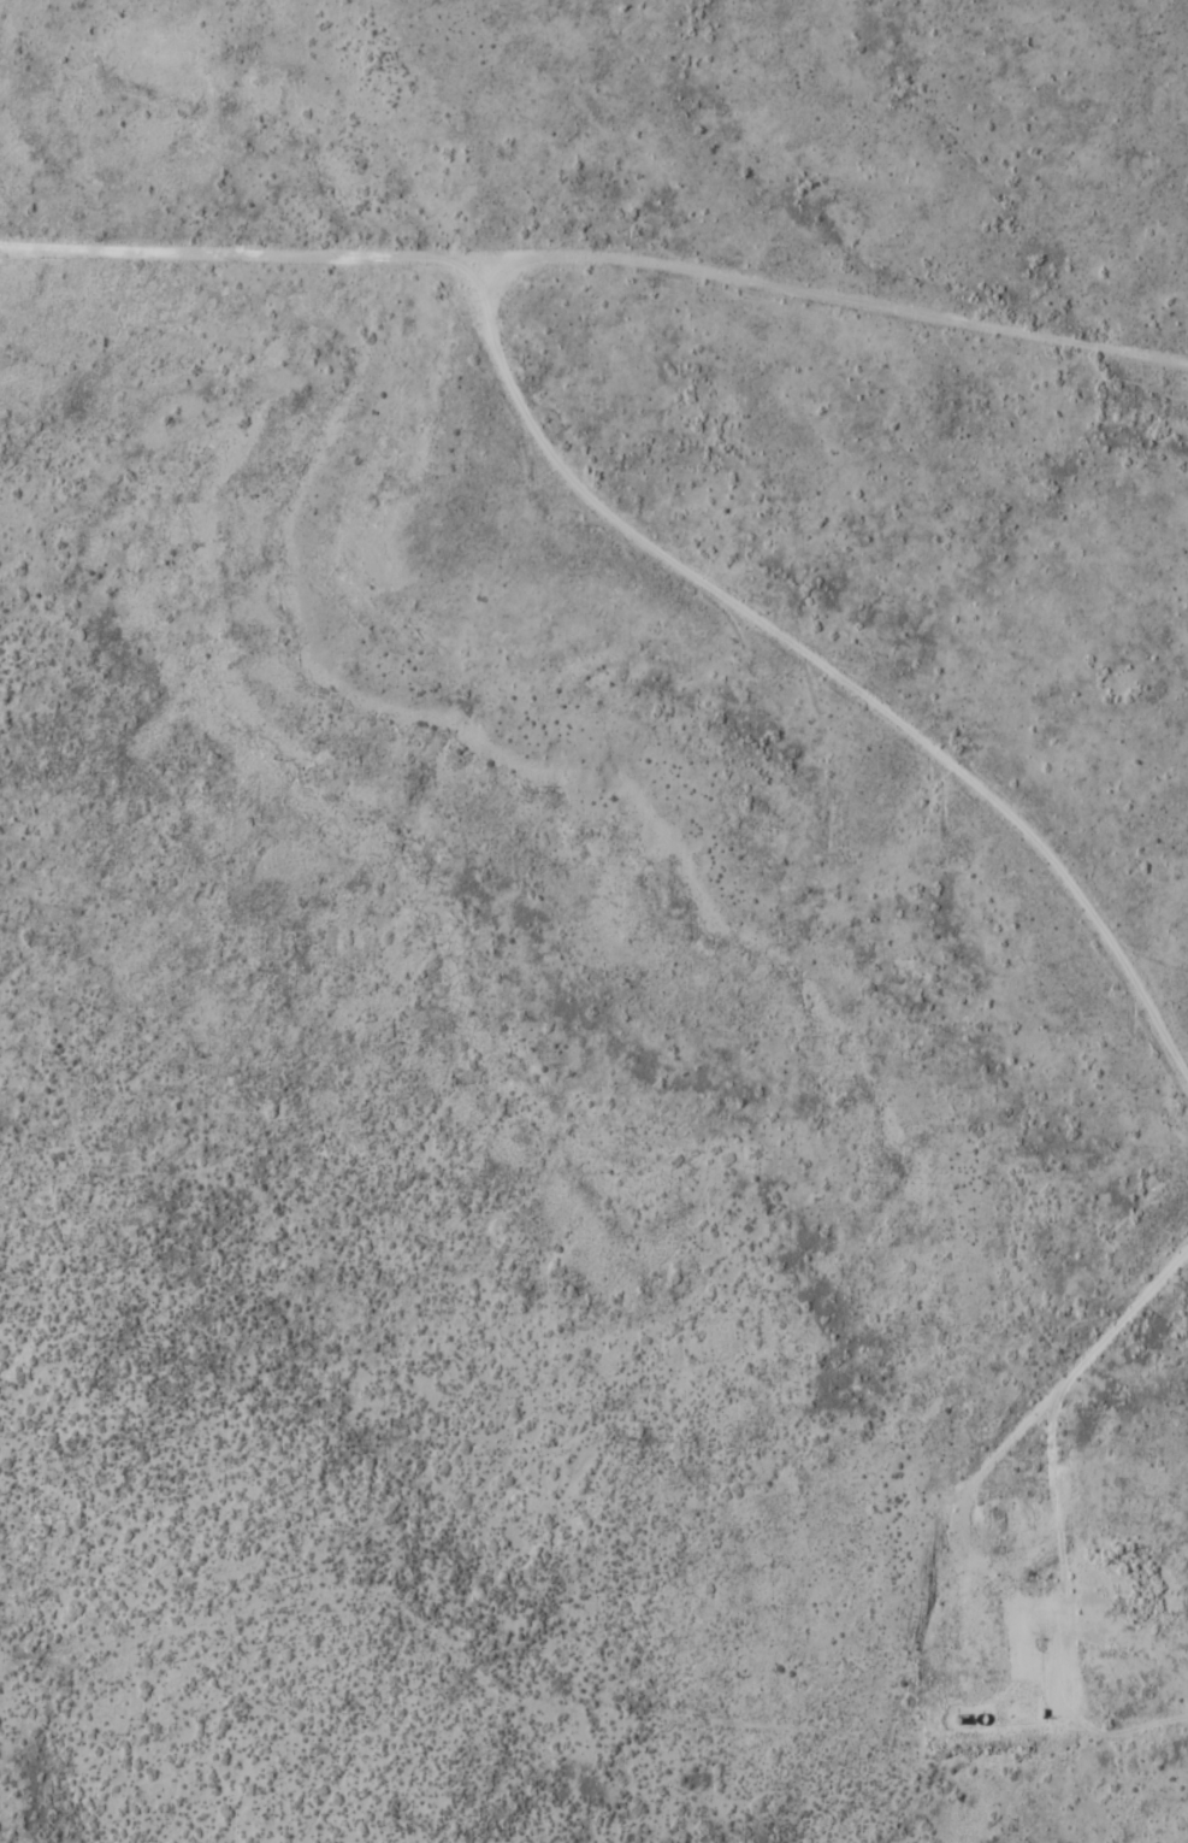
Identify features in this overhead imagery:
road: (598, 251)
road: (651, 541)
road: (1074, 1727)

